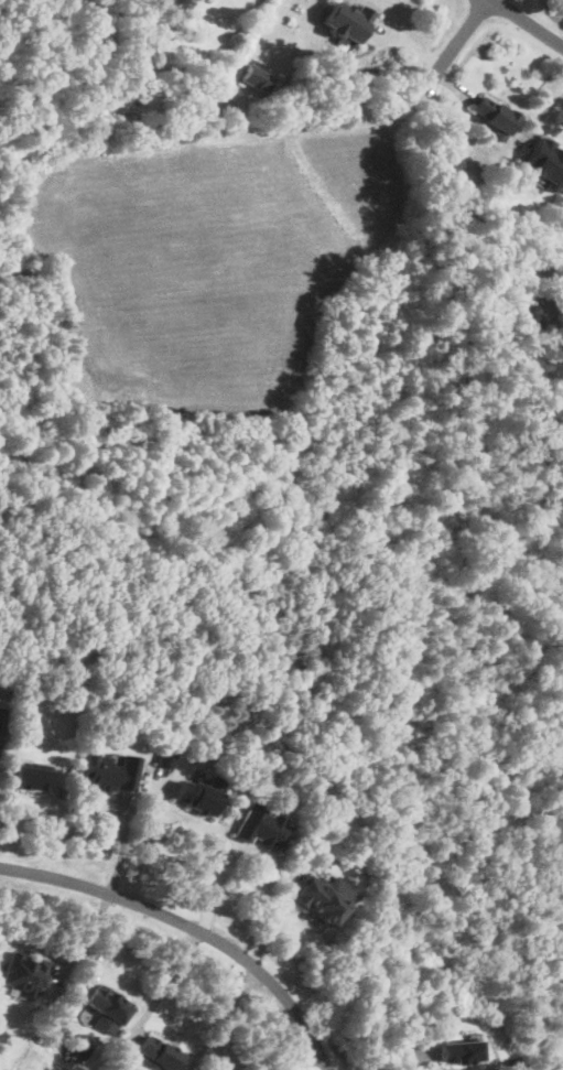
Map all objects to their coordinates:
road: (528, 22)
building: (348, 24)
road: (446, 57)
building: (258, 77)
road: (540, 117)
building: (496, 118)
building: (545, 163)
building: (182, 699)
building: (2, 722)
building: (166, 760)
building: (209, 770)
building: (111, 775)
building: (33, 778)
building: (202, 797)
building: (263, 829)
road: (144, 846)
building: (323, 897)
road: (192, 926)
road: (83, 941)
road: (113, 947)
building: (26, 975)
road: (176, 984)
building: (108, 1006)
road: (220, 1020)
building: (461, 1051)
building: (159, 1055)
road: (419, 1060)

